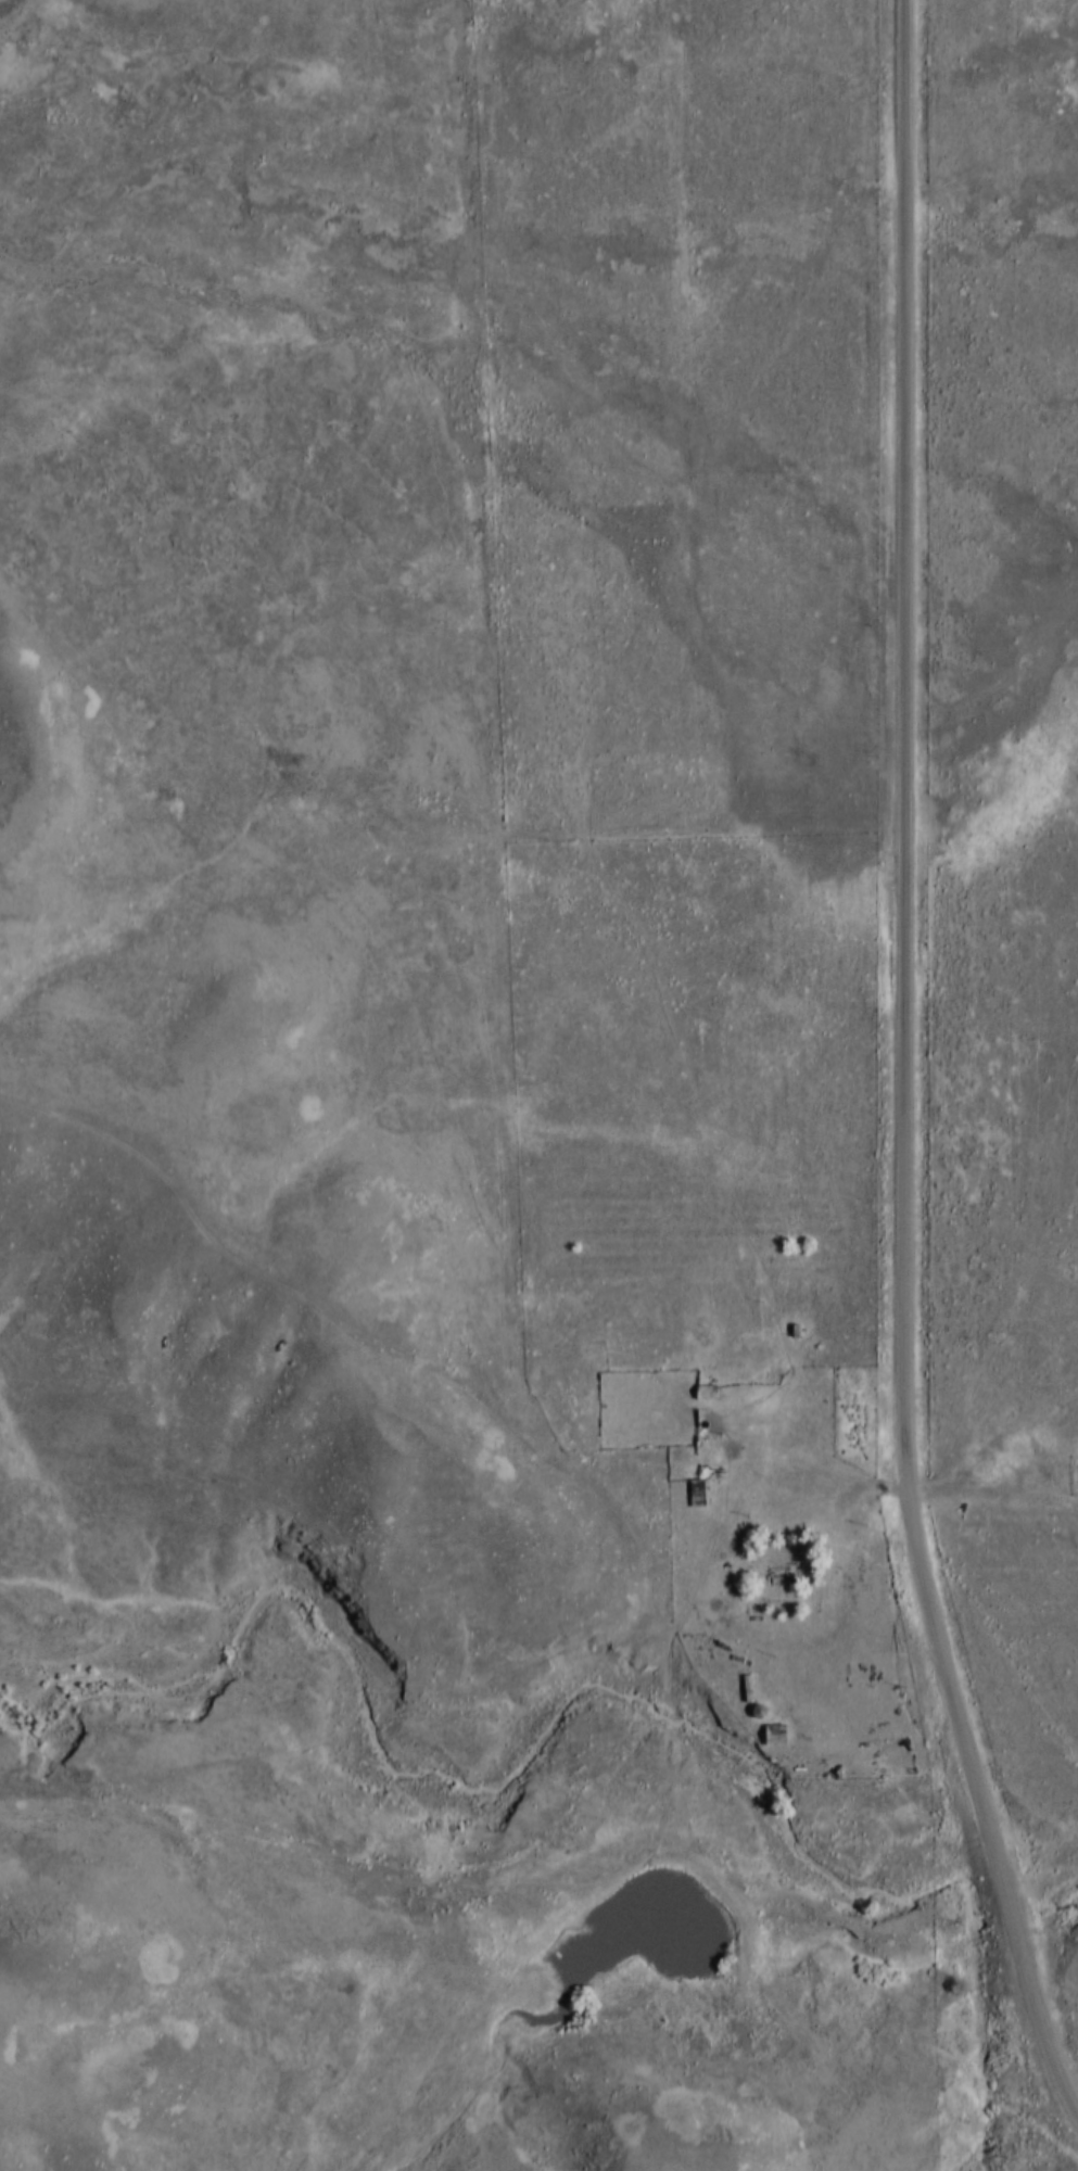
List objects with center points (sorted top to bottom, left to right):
road: (902, 1082)
road: (493, 1410)
building: (696, 1494)
building: (773, 1736)

